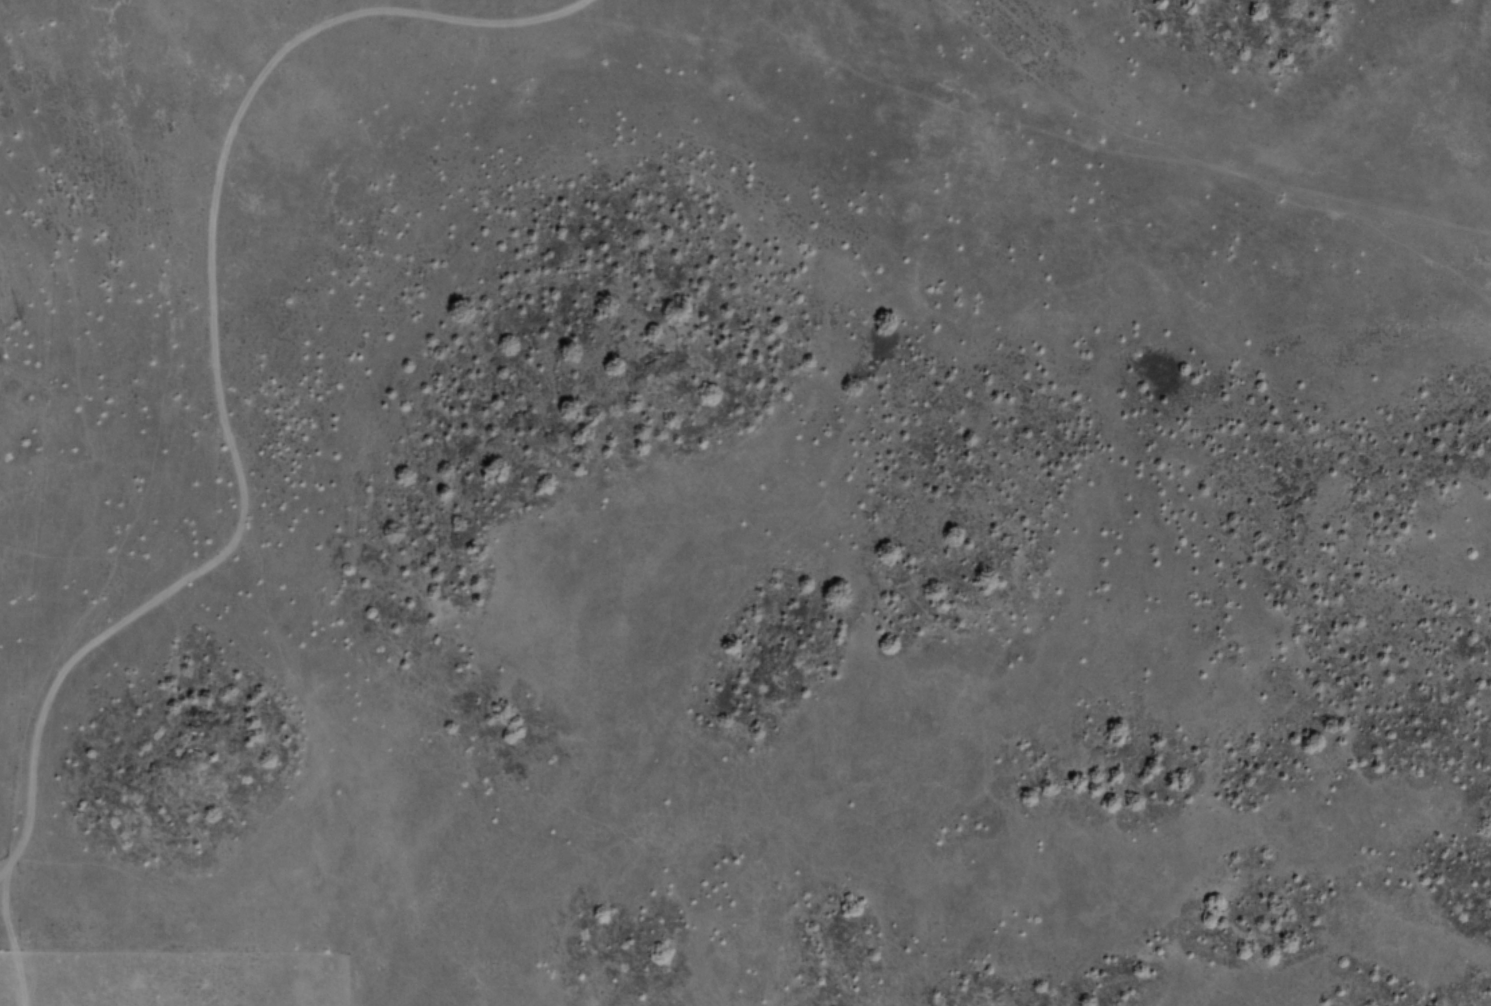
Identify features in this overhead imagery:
road: (358, 6)
road: (236, 481)
road: (10, 933)

